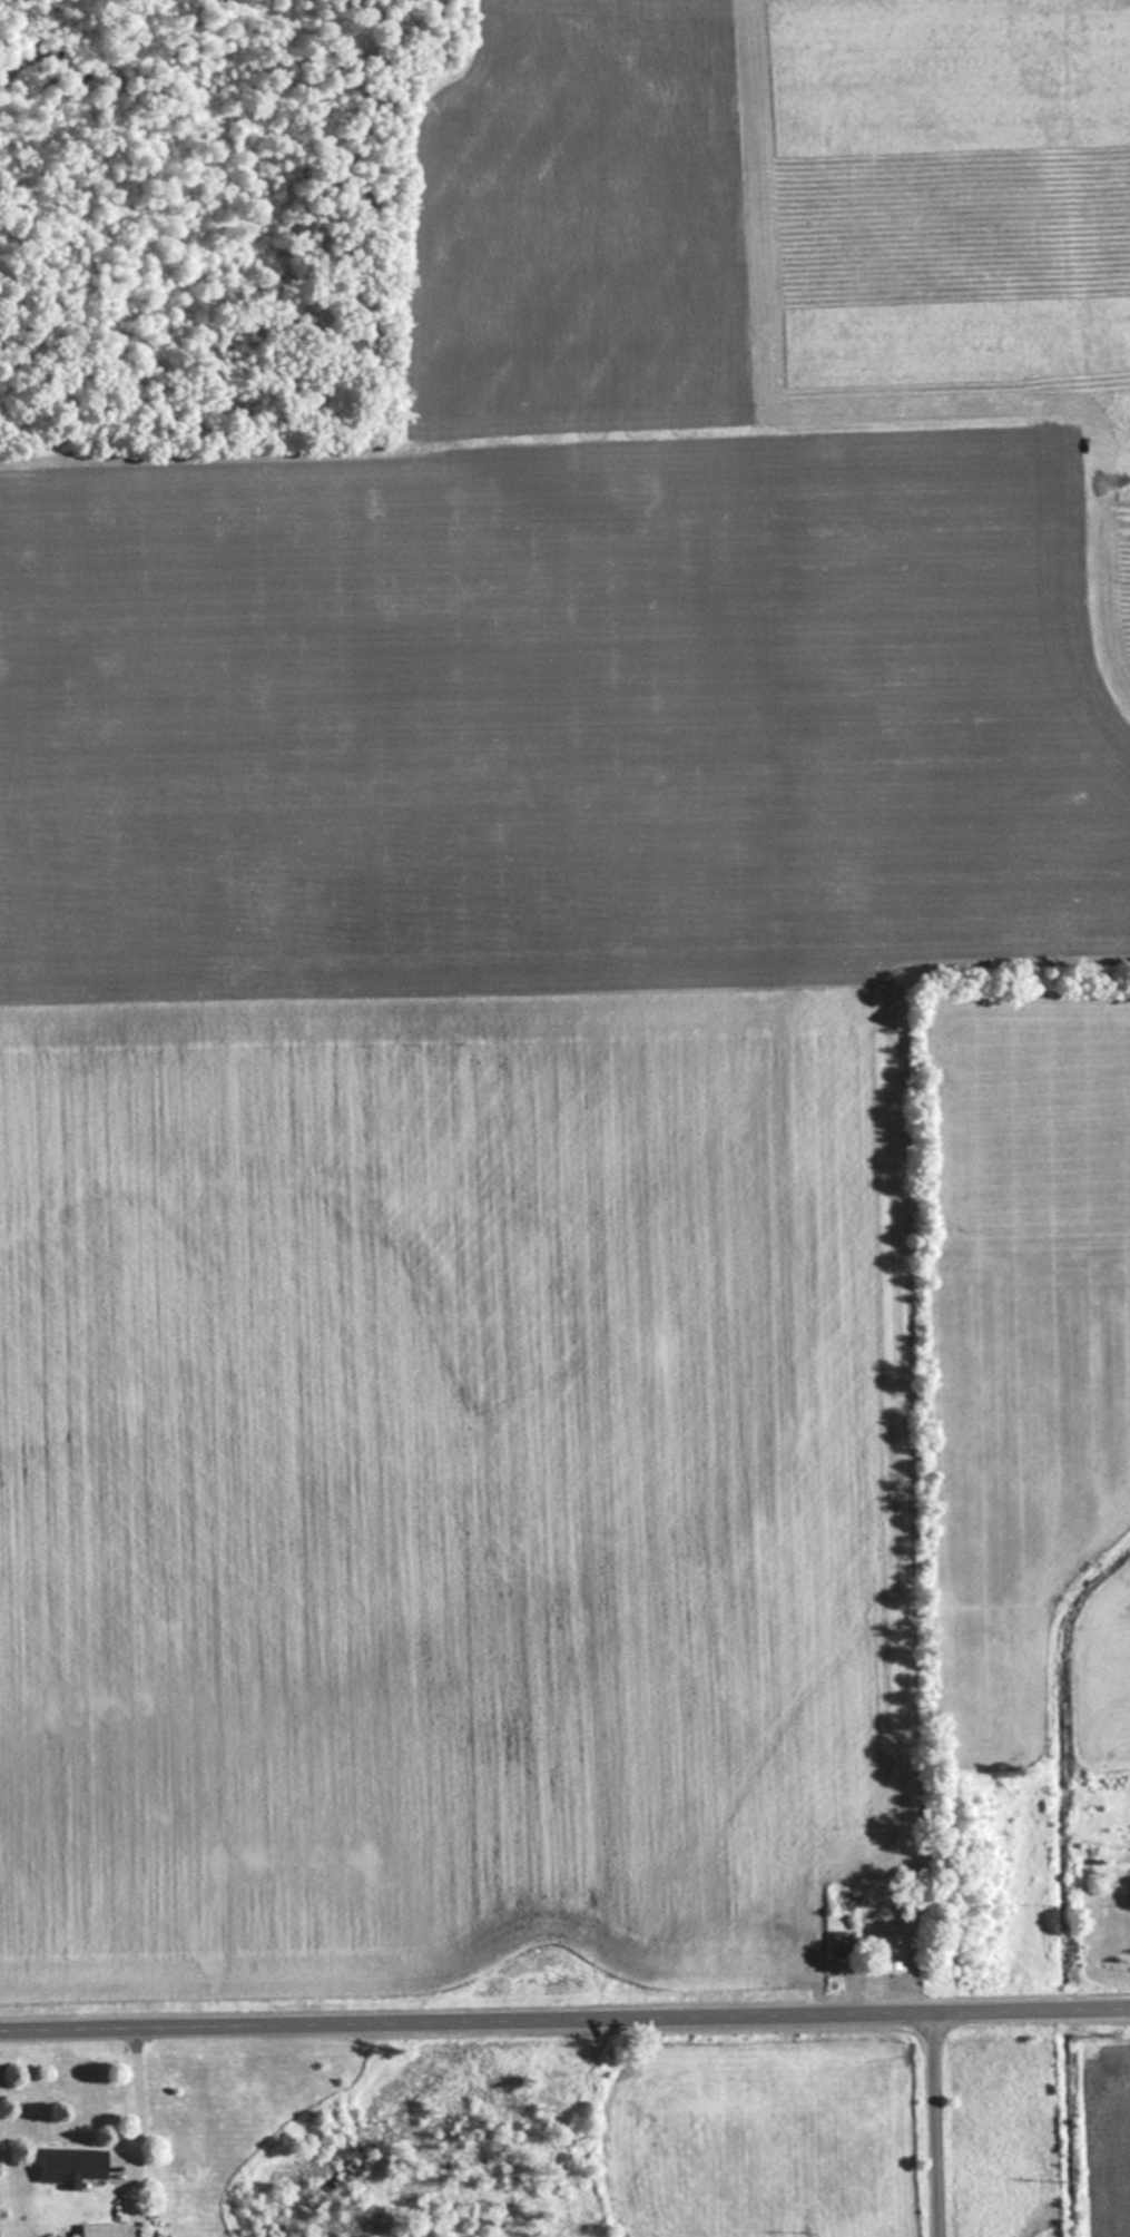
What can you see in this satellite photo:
building: (839, 1944)
building: (888, 1950)
road: (564, 2025)
road: (939, 2128)
building: (69, 2166)
building: (98, 2230)

